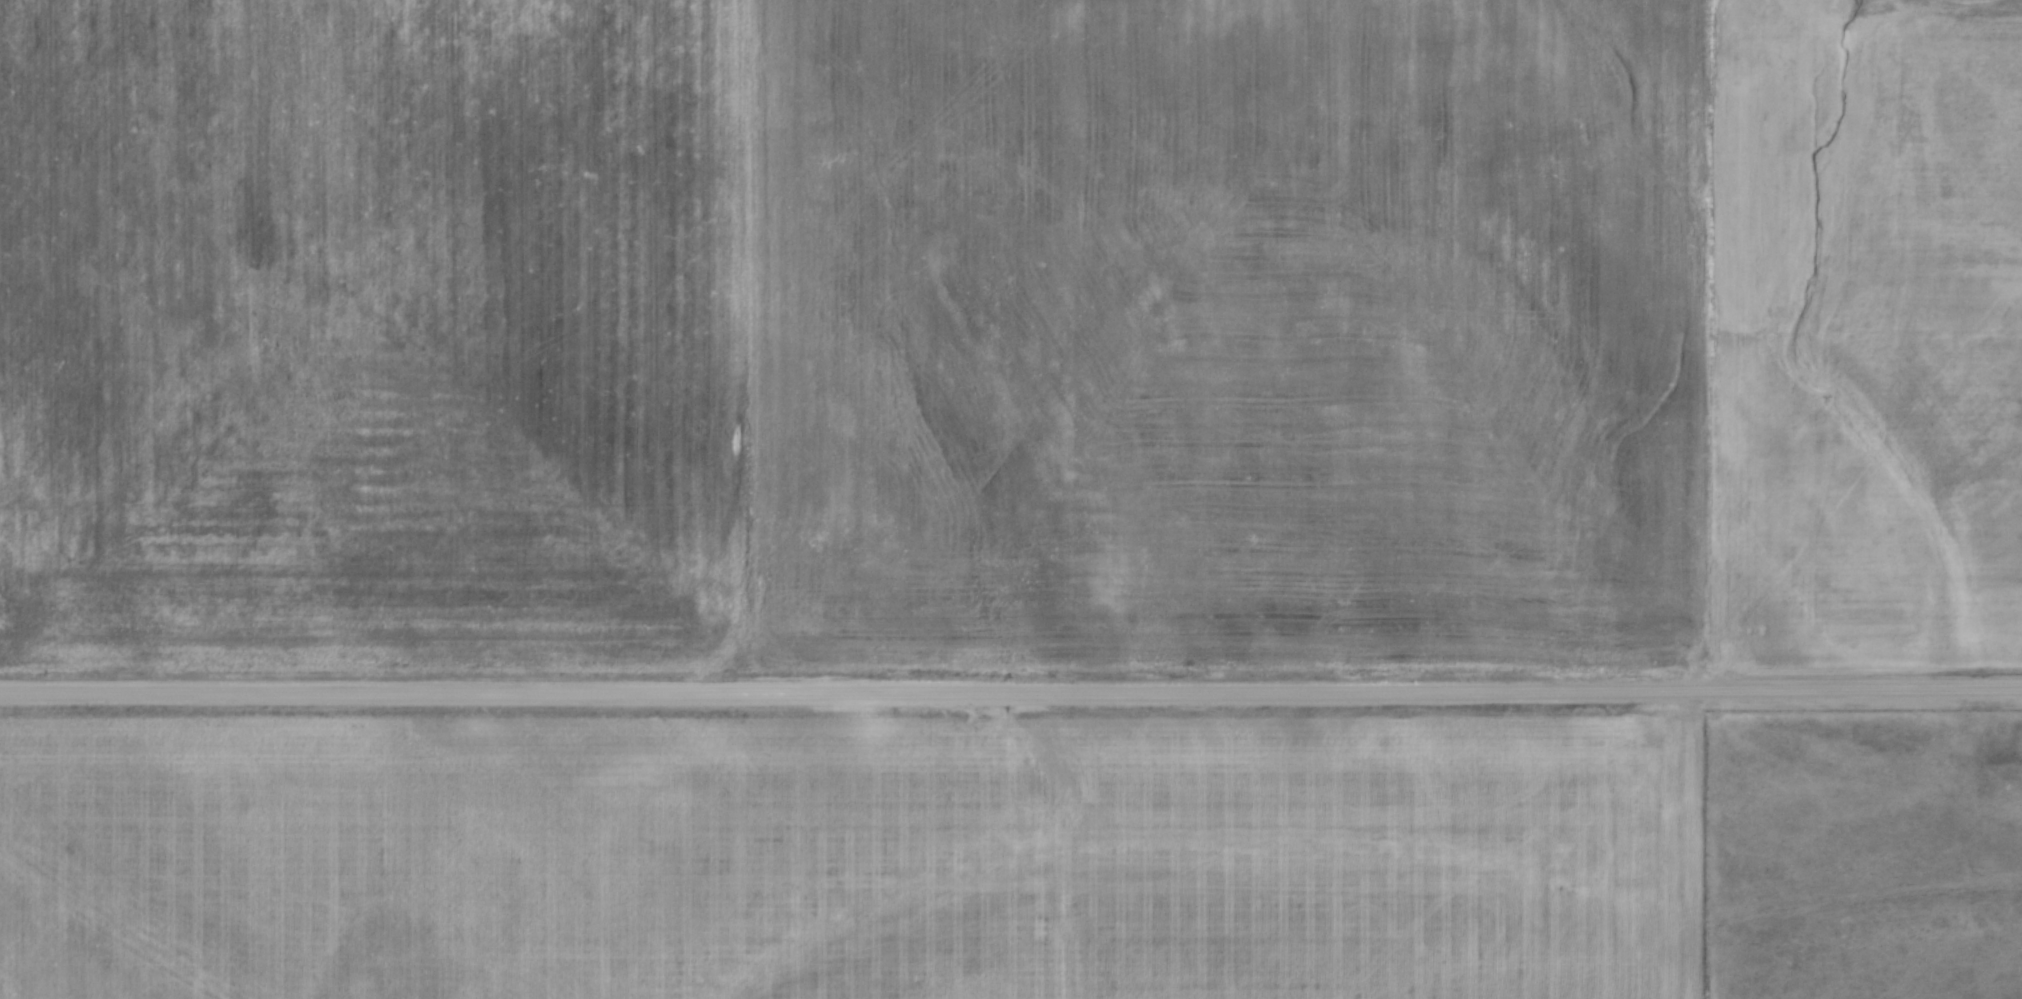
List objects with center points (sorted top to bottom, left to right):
crop: (1014, 333)
road: (1011, 695)
crop: (845, 856)

